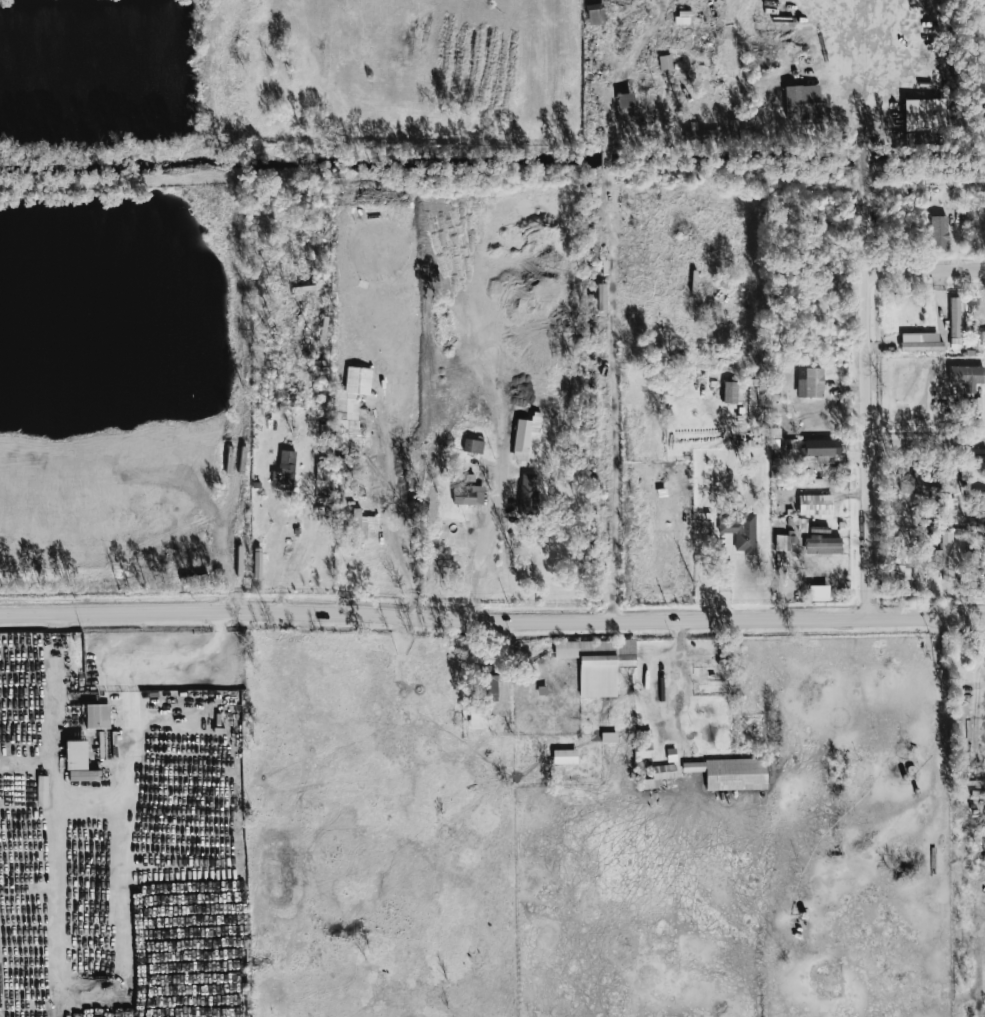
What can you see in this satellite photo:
building: (595, 14)
building: (665, 63)
building: (626, 101)
building: (802, 103)
road: (866, 108)
building: (924, 115)
building: (700, 133)
building: (938, 232)
road: (927, 268)
building: (601, 297)
building: (955, 317)
building: (983, 337)
road: (607, 339)
building: (918, 343)
building: (966, 376)
building: (810, 382)
building: (733, 392)
building: (349, 402)
road: (869, 405)
road: (927, 442)
building: (473, 446)
building: (821, 449)
building: (284, 471)
building: (322, 473)
building: (919, 486)
building: (468, 494)
building: (528, 494)
building: (979, 501)
building: (815, 505)
building: (360, 527)
building: (740, 530)
road: (221, 535)
building: (784, 542)
road: (480, 543)
building: (823, 545)
building: (945, 556)
building: (257, 563)
road: (492, 621)
building: (598, 663)
building: (490, 684)
building: (711, 686)
building: (97, 716)
building: (75, 755)
building: (565, 756)
building: (730, 773)
building: (82, 775)
building: (658, 776)
building: (42, 791)

